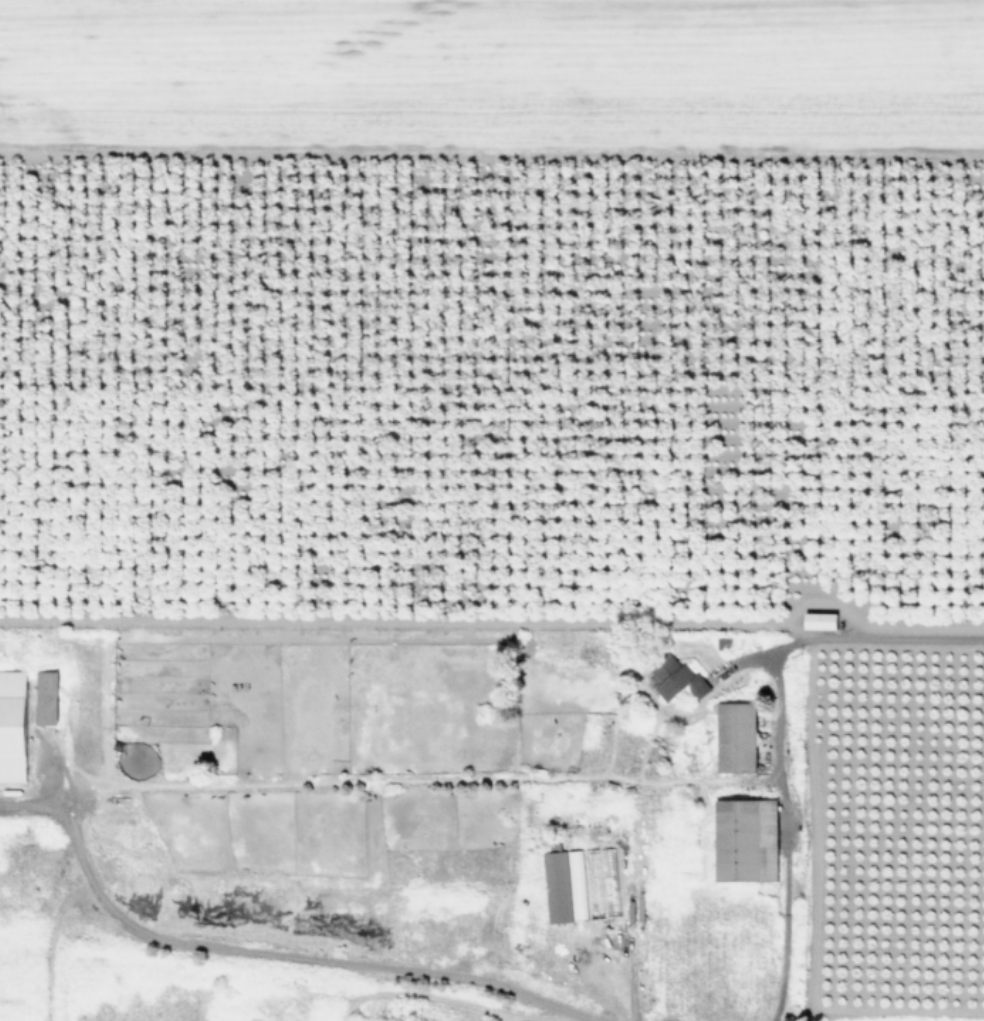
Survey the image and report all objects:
crop: (492, 305)
building: (819, 620)
road: (873, 639)
building: (723, 642)
building: (676, 677)
building: (45, 697)
building: (12, 725)
building: (735, 737)
road: (784, 837)
building: (745, 839)
road: (282, 953)
building: (381, 1007)

